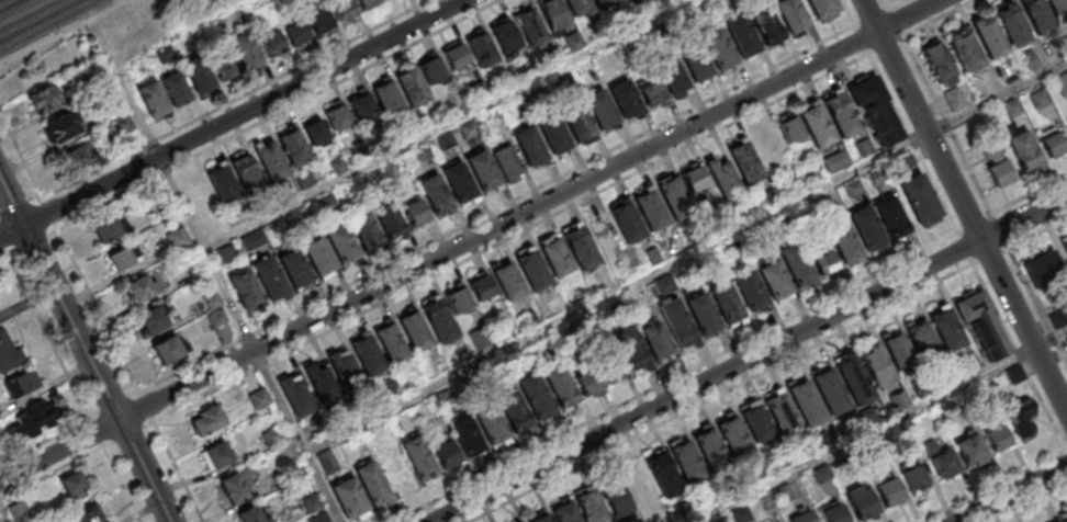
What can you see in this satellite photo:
building: (600, 2)
building: (366, 3)
road: (887, 3)
road: (895, 3)
road: (18, 4)
building: (821, 7)
building: (341, 8)
building: (579, 8)
building: (1059, 9)
road: (846, 12)
building: (315, 14)
building: (789, 14)
building: (1041, 15)
road: (24, 16)
building: (551, 16)
road: (937, 18)
building: (138, 22)
building: (765, 24)
building: (1014, 25)
building: (528, 26)
road: (60, 31)
road: (178, 33)
building: (294, 33)
building: (503, 36)
building: (742, 36)
building: (990, 36)
building: (573, 41)
building: (271, 42)
building: (717, 47)
building: (964, 47)
building: (244, 49)
building: (480, 49)
building: (164, 55)
building: (453, 56)
building: (694, 60)
building: (222, 61)
building: (939, 61)
building: (1030, 63)
building: (431, 68)
building: (196, 75)
building: (671, 75)
building: (1063, 83)
building: (175, 87)
building: (409, 87)
road: (887, 91)
building: (651, 92)
road: (233, 97)
building: (42, 98)
building: (150, 99)
building: (388, 99)
building: (624, 99)
building: (1042, 100)
building: (956, 101)
building: (599, 109)
building: (875, 109)
building: (1014, 109)
road: (276, 112)
building: (364, 114)
building: (841, 114)
building: (336, 117)
road: (233, 118)
road: (920, 121)
building: (577, 123)
building: (815, 124)
road: (449, 125)
road: (947, 125)
building: (61, 126)
building: (790, 127)
building: (119, 128)
building: (468, 130)
building: (314, 134)
building: (553, 134)
building: (1053, 140)
building: (529, 145)
building: (293, 148)
building: (1023, 148)
road: (21, 154)
building: (76, 156)
building: (269, 160)
building: (744, 160)
building: (507, 162)
building: (997, 164)
building: (483, 172)
building: (245, 173)
road: (167, 174)
building: (693, 177)
building: (722, 177)
building: (303, 178)
building: (222, 183)
building: (459, 183)
building: (281, 191)
building: (435, 194)
road: (1031, 196)
building: (673, 197)
building: (920, 200)
road: (20, 206)
road: (495, 206)
road: (48, 209)
road: (529, 209)
building: (651, 211)
building: (414, 212)
building: (891, 218)
building: (390, 219)
road: (1025, 219)
building: (627, 222)
road: (976, 224)
building: (106, 227)
building: (867, 227)
building: (364, 230)
road: (1001, 231)
road: (1038, 234)
road: (509, 237)
road: (31, 239)
building: (175, 240)
building: (844, 241)
building: (340, 242)
road: (2, 245)
building: (581, 247)
building: (1066, 247)
road: (966, 250)
road: (2, 253)
building: (555, 257)
road: (686, 257)
road: (992, 257)
building: (120, 258)
building: (318, 258)
building: (824, 261)
building: (796, 264)
building: (293, 269)
building: (1044, 269)
building: (532, 270)
building: (269, 277)
building: (508, 281)
building: (775, 281)
building: (481, 286)
building: (749, 288)
building: (139, 290)
building: (246, 291)
building: (458, 297)
road: (58, 302)
building: (726, 303)
road: (1038, 305)
road: (97, 308)
building: (214, 308)
building: (701, 314)
building: (438, 318)
building: (154, 320)
building: (677, 322)
building: (982, 324)
building: (946, 327)
road: (1025, 327)
building: (414, 330)
road: (47, 333)
building: (656, 340)
building: (923, 340)
building: (1066, 340)
building: (390, 343)
building: (631, 349)
building: (168, 351)
building: (898, 351)
building: (366, 353)
building: (9, 354)
road: (1018, 355)
building: (969, 363)
building: (877, 366)
building: (611, 368)
building: (344, 371)
building: (852, 377)
building: (586, 379)
road: (707, 381)
building: (321, 383)
building: (20, 385)
building: (560, 386)
building: (830, 390)
road: (721, 394)
building: (295, 396)
building: (259, 398)
building: (537, 398)
road: (113, 402)
building: (805, 402)
road: (145, 405)
building: (512, 408)
building: (779, 411)
building: (1018, 413)
building: (32, 420)
building: (206, 420)
building: (754, 420)
building: (488, 422)
road: (880, 427)
road: (96, 430)
road: (127, 433)
building: (465, 433)
road: (296, 436)
building: (733, 436)
building: (271, 438)
building: (996, 438)
road: (45, 439)
building: (710, 449)
road: (1065, 449)
road: (58, 450)
building: (970, 450)
building: (445, 452)
building: (216, 455)
building: (417, 456)
building: (686, 461)
building: (941, 461)
building: (327, 462)
road: (52, 470)
road: (144, 470)
road: (177, 472)
building: (663, 475)
building: (914, 477)
road: (122, 484)
building: (72, 485)
building: (372, 485)
building: (233, 488)
building: (885, 492)
road: (1011, 493)
building: (615, 498)
building: (349, 499)
building: (861, 501)
building: (311, 502)
road: (1029, 502)
building: (589, 504)
building: (564, 512)
building: (832, 513)
building: (88, 514)
building: (249, 514)
road: (2, 515)
building: (801, 517)
building: (1064, 517)
building: (318, 518)
building: (540, 518)
building: (517, 521)

